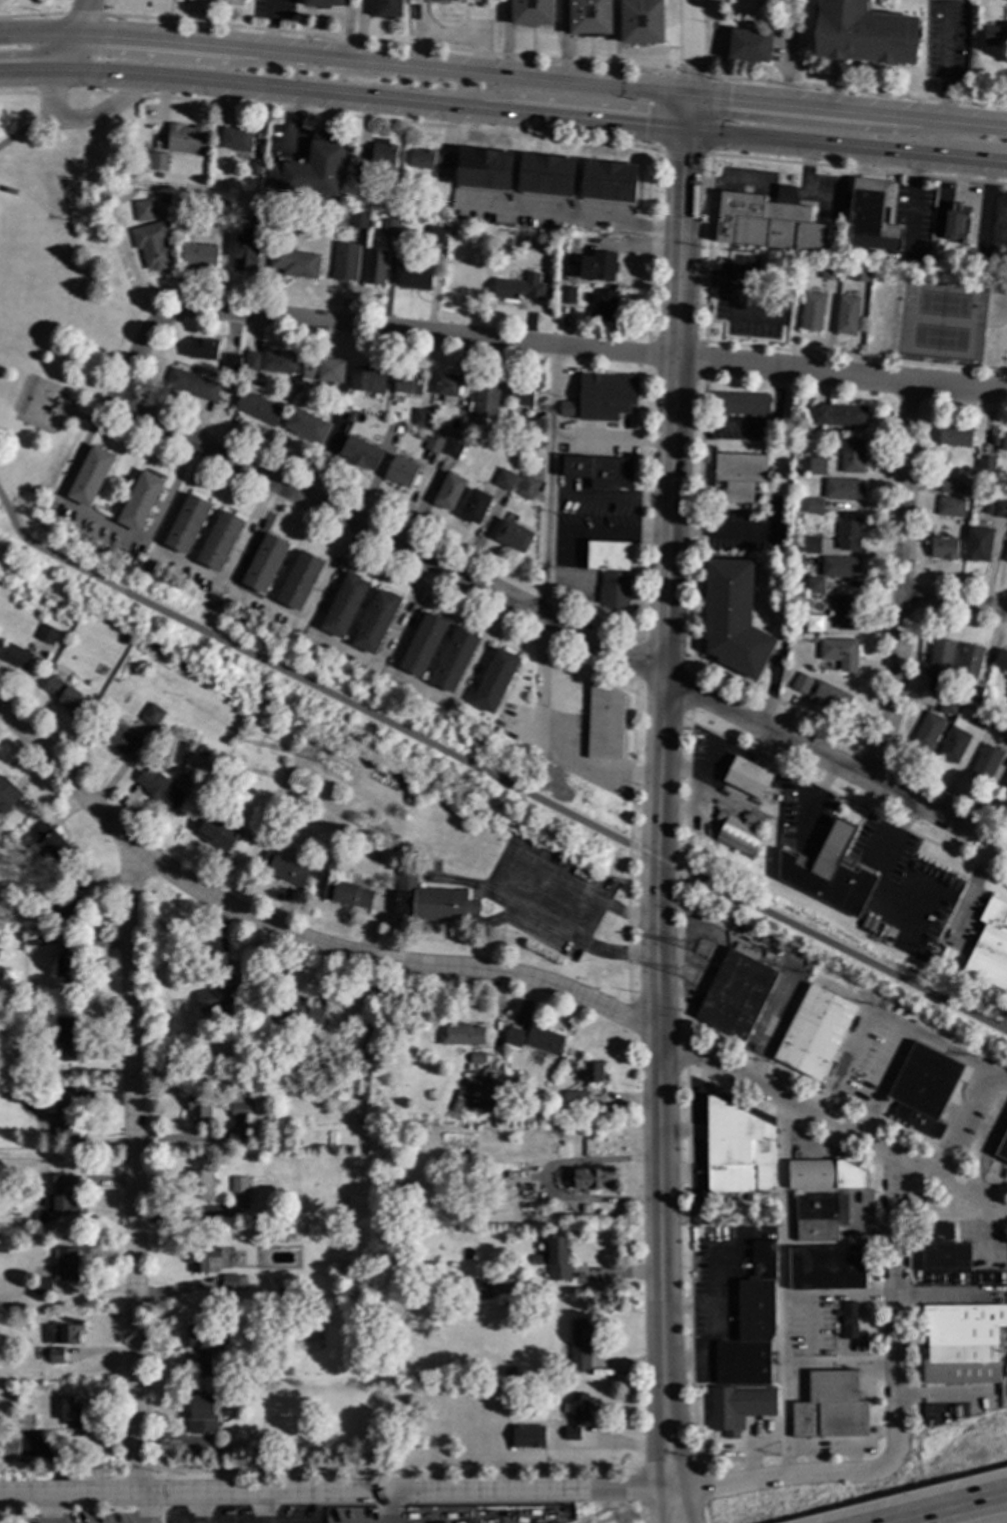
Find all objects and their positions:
building: (423, 0)
building: (221, 2)
building: (322, 2)
building: (386, 8)
park: (35, 12)
building: (530, 12)
road: (31, 14)
road: (82, 14)
road: (81, 16)
building: (588, 18)
building: (640, 21)
road: (36, 32)
building: (863, 34)
building: (1002, 37)
road: (564, 40)
road: (388, 43)
building: (749, 46)
road: (691, 47)
road: (64, 51)
road: (100, 53)
road: (382, 61)
road: (947, 65)
road: (27, 71)
road: (689, 73)
building: (93, 89)
road: (855, 90)
road: (51, 92)
road: (89, 92)
road: (19, 93)
road: (53, 93)
road: (128, 94)
traffic signals: (691, 95)
road: (372, 98)
road: (555, 100)
road: (105, 109)
road: (690, 112)
road: (848, 112)
road: (399, 121)
road: (830, 125)
road: (27, 128)
traffic signals: (689, 130)
building: (185, 136)
building: (235, 138)
road: (847, 146)
road: (682, 151)
building: (383, 152)
building: (429, 158)
building: (158, 159)
building: (254, 165)
building: (312, 168)
building: (484, 168)
road: (858, 169)
road: (806, 172)
building: (157, 173)
building: (362, 173)
building: (546, 173)
building: (609, 180)
road: (731, 187)
building: (9, 190)
road: (912, 191)
road: (787, 193)
building: (143, 208)
building: (260, 212)
building: (871, 214)
building: (276, 217)
building: (221, 218)
building: (358, 219)
road: (574, 219)
building: (769, 221)
building: (956, 221)
building: (388, 224)
building: (467, 231)
building: (434, 232)
building: (525, 242)
building: (152, 243)
road: (626, 247)
building: (245, 251)
building: (198, 254)
building: (293, 260)
building: (344, 260)
building: (374, 265)
building: (598, 265)
park: (62, 268)
building: (828, 269)
building: (859, 271)
building: (415, 275)
building: (520, 285)
building: (589, 292)
building: (566, 295)
building: (604, 303)
building: (810, 310)
building: (846, 314)
building: (203, 346)
road: (137, 350)
road: (593, 350)
building: (252, 359)
building: (278, 359)
building: (230, 363)
building: (324, 369)
building: (368, 378)
building: (192, 382)
building: (406, 382)
building: (449, 385)
building: (522, 392)
building: (605, 394)
building: (485, 397)
building: (740, 403)
building: (258, 406)
building: (350, 412)
building: (839, 414)
building: (419, 415)
building: (307, 424)
building: (533, 425)
building: (954, 434)
road: (611, 436)
building: (433, 440)
building: (1001, 440)
building: (837, 442)
building: (452, 447)
building: (360, 451)
building: (852, 454)
building: (985, 460)
building: (818, 466)
building: (400, 469)
building: (599, 469)
building: (90, 473)
building: (739, 473)
building: (504, 479)
building: (948, 484)
building: (526, 485)
building: (843, 487)
building: (449, 489)
building: (979, 490)
road: (608, 497)
building: (48, 499)
building: (139, 499)
building: (474, 504)
building: (814, 504)
building: (951, 506)
building: (987, 507)
building: (1000, 509)
road: (100, 521)
building: (186, 522)
road: (8, 525)
road: (717, 529)
road: (607, 532)
building: (849, 532)
building: (513, 534)
building: (218, 539)
building: (811, 543)
building: (978, 543)
building: (942, 548)
road: (546, 550)
building: (607, 554)
building: (1005, 555)
building: (263, 561)
building: (839, 565)
building: (298, 579)
road: (902, 581)
building: (813, 584)
building: (612, 588)
building: (213, 598)
road: (954, 600)
building: (343, 604)
building: (846, 611)
building: (732, 616)
building: (374, 619)
road: (560, 623)
building: (114, 629)
building: (46, 634)
building: (813, 639)
building: (422, 642)
building: (841, 652)
building: (15, 656)
building: (453, 658)
building: (1001, 660)
building: (969, 661)
building: (938, 664)
building: (59, 674)
building: (493, 679)
building: (800, 681)
road: (309, 682)
building: (973, 692)
building: (65, 695)
building: (830, 696)
building: (947, 705)
building: (150, 713)
building: (982, 719)
building: (603, 721)
building: (927, 730)
building: (116, 736)
building: (1006, 740)
building: (952, 744)
building: (203, 750)
power tower: (321, 760)
building: (985, 760)
building: (746, 776)
building: (1005, 779)
building: (1005, 783)
building: (158, 787)
power tower: (309, 787)
building: (7, 793)
building: (777, 797)
road: (819, 798)
road: (657, 807)
building: (216, 830)
building: (738, 833)
building: (47, 841)
building: (391, 845)
building: (406, 848)
road: (656, 858)
building: (283, 868)
building: (828, 872)
road: (882, 877)
building: (70, 881)
road: (974, 885)
building: (345, 892)
building: (428, 898)
building: (61, 907)
building: (33, 940)
building: (990, 945)
road: (841, 950)
power tower: (705, 953)
building: (65, 963)
road: (485, 968)
power tower: (691, 978)
building: (735, 993)
building: (214, 997)
building: (299, 1009)
road: (893, 1023)
building: (813, 1031)
building: (59, 1033)
building: (460, 1033)
building: (513, 1036)
building: (543, 1039)
building: (475, 1057)
building: (592, 1070)
road: (882, 1081)
building: (922, 1088)
building: (437, 1093)
building: (483, 1096)
building: (574, 1099)
building: (239, 1105)
building: (197, 1107)
building: (59, 1112)
road: (958, 1120)
building: (277, 1125)
building: (1002, 1147)
building: (736, 1148)
building: (62, 1160)
road: (134, 1172)
building: (824, 1174)
building: (589, 1178)
building: (199, 1182)
building: (238, 1184)
building: (272, 1191)
building: (56, 1196)
building: (820, 1215)
road: (980, 1234)
building: (3, 1248)
building: (941, 1248)
building: (204, 1258)
building: (558, 1258)
building: (537, 1259)
building: (762, 1260)
building: (65, 1264)
building: (826, 1266)
building: (231, 1281)
road: (783, 1284)
building: (39, 1285)
building: (282, 1285)
building: (482, 1288)
road: (936, 1293)
building: (755, 1310)
building: (836, 1311)
road: (898, 1313)
building: (848, 1319)
building: (62, 1333)
building: (837, 1334)
building: (960, 1342)
building: (579, 1344)
building: (201, 1345)
building: (55, 1353)
building: (742, 1362)
building: (284, 1370)
building: (509, 1372)
road: (943, 1393)
building: (739, 1406)
building: (830, 1406)
building: (70, 1412)
building: (576, 1413)
building: (200, 1414)
building: (527, 1436)
building: (221, 1443)
building: (11, 1448)
building: (24, 1460)
road: (667, 1468)
road: (439, 1488)
road: (662, 1503)
road: (677, 1504)
road: (383, 1505)
road: (199, 1507)
road: (261, 1507)
road: (46, 1508)
road: (145, 1508)
road: (950, 1509)

